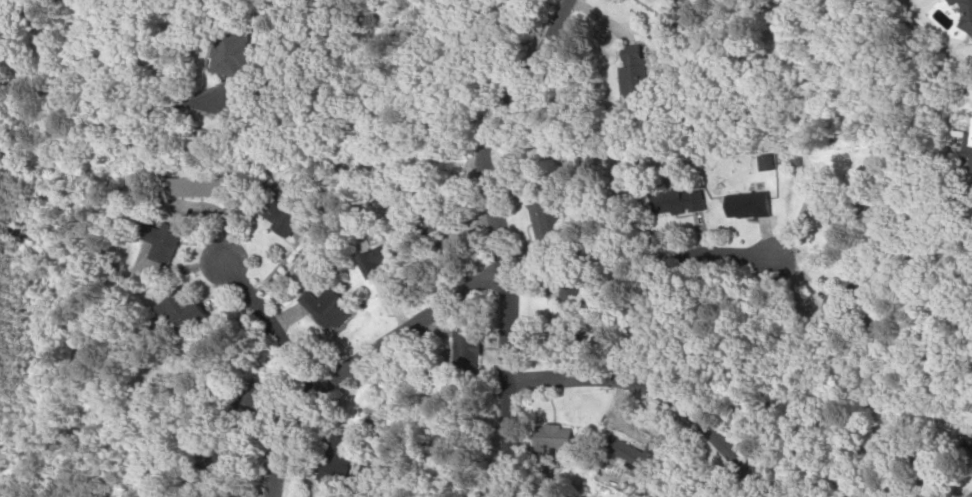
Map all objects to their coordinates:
building: (962, 13)
road: (85, 35)
building: (227, 53)
building: (626, 72)
road: (489, 124)
road: (957, 124)
building: (969, 132)
building: (759, 161)
building: (971, 169)
building: (189, 185)
building: (669, 200)
building: (738, 204)
building: (268, 212)
building: (828, 213)
building: (540, 225)
building: (154, 242)
road: (663, 263)
building: (560, 305)
building: (317, 308)
road: (263, 321)
building: (463, 346)
road: (356, 357)
road: (503, 380)
road: (654, 392)
building: (547, 436)
building: (966, 441)
building: (616, 449)
building: (327, 465)

